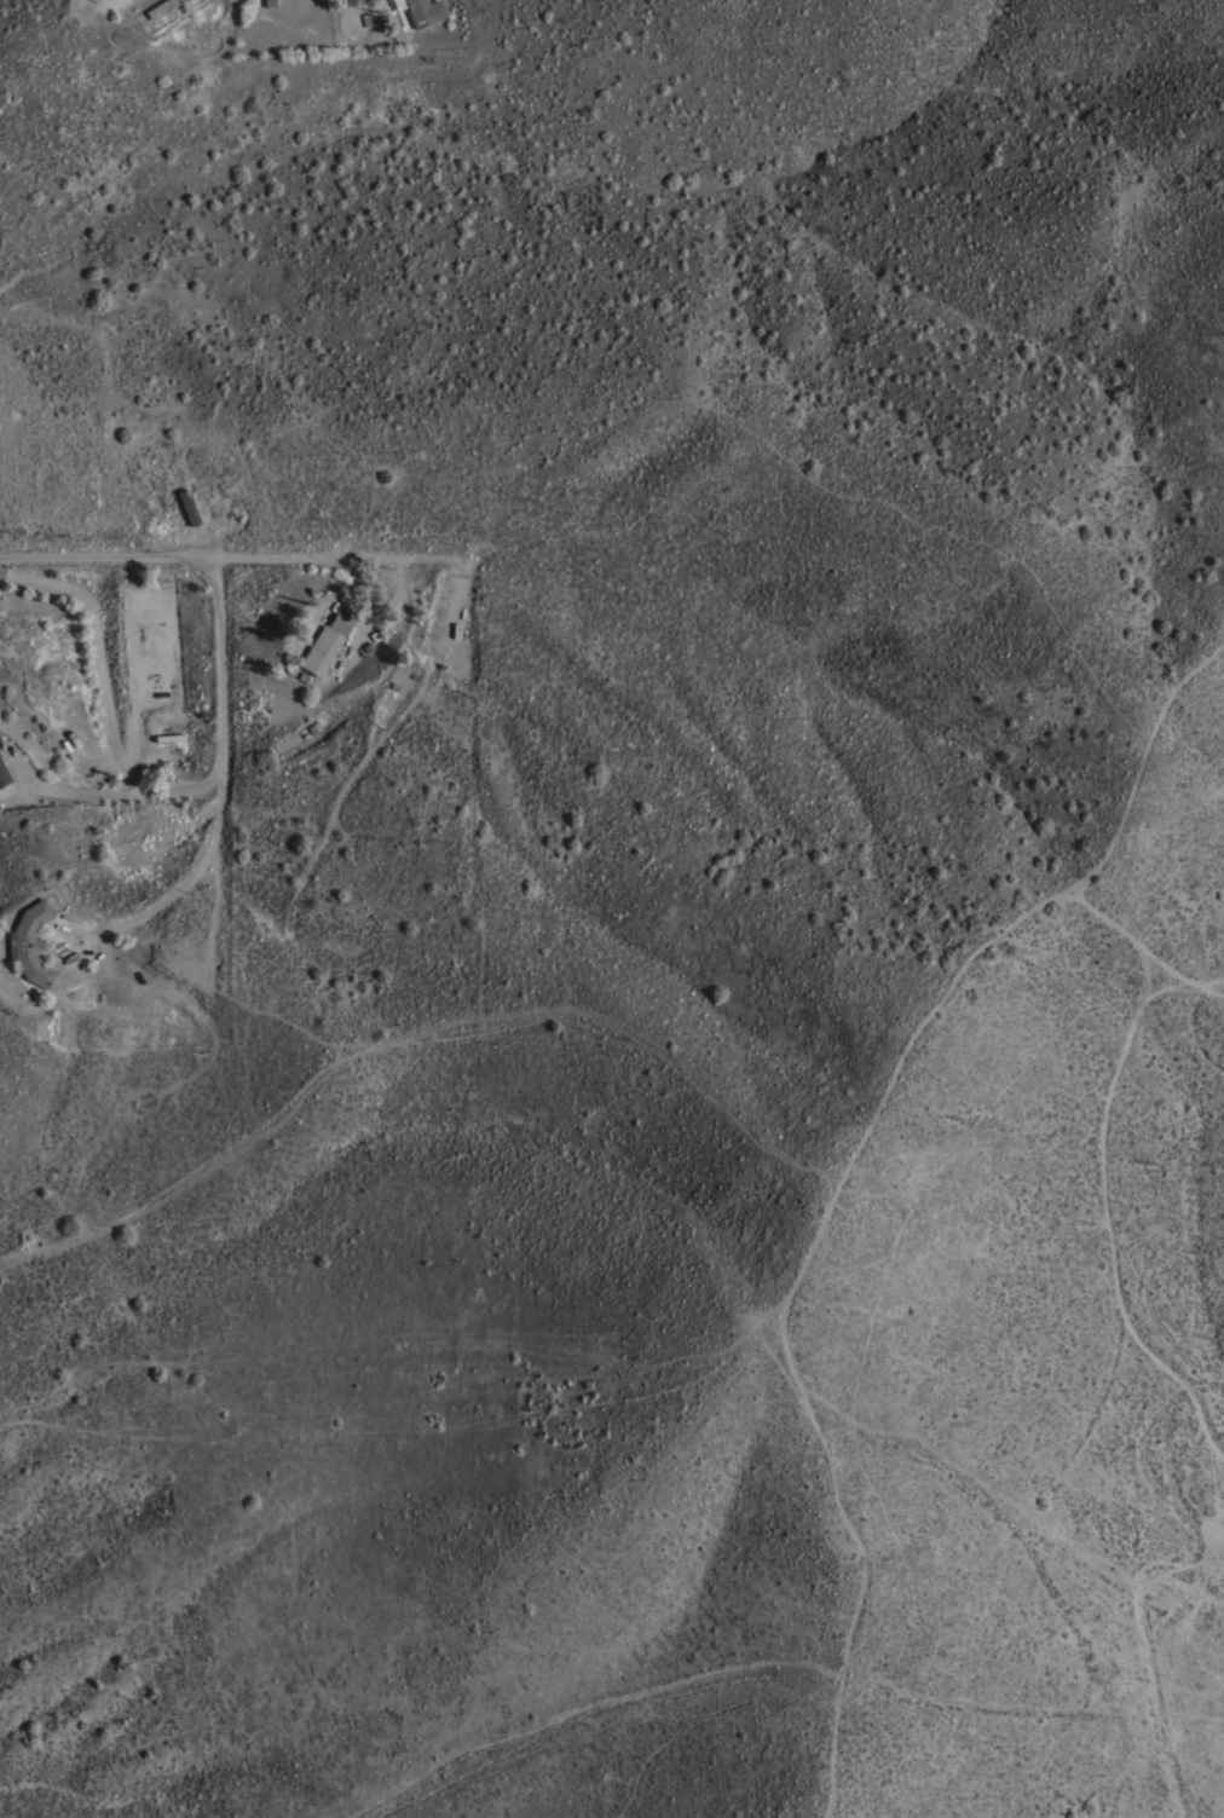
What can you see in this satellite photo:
building: (160, 7)
building: (420, 11)
building: (187, 508)
road: (108, 559)
road: (281, 560)
building: (325, 640)
road: (104, 694)
road: (220, 703)
building: (311, 729)
building: (2, 775)
road: (168, 898)
building: (30, 943)

